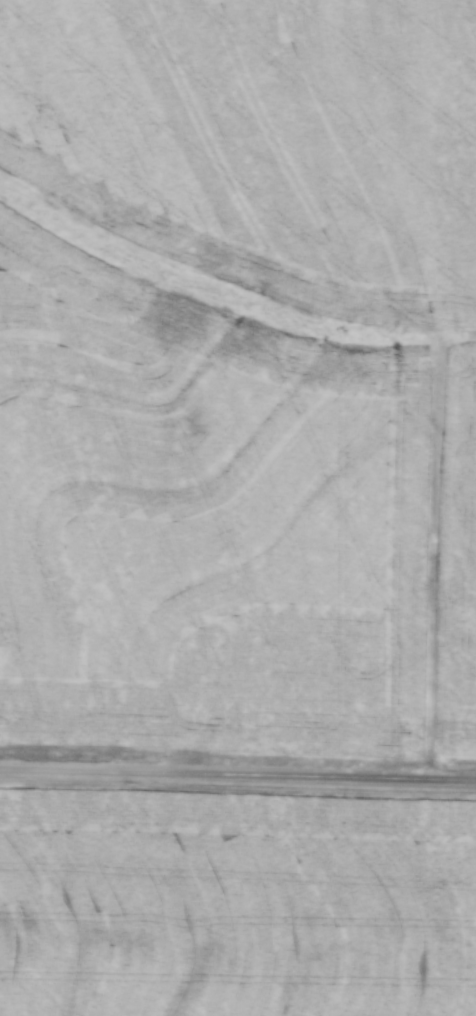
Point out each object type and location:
road: (237, 779)

